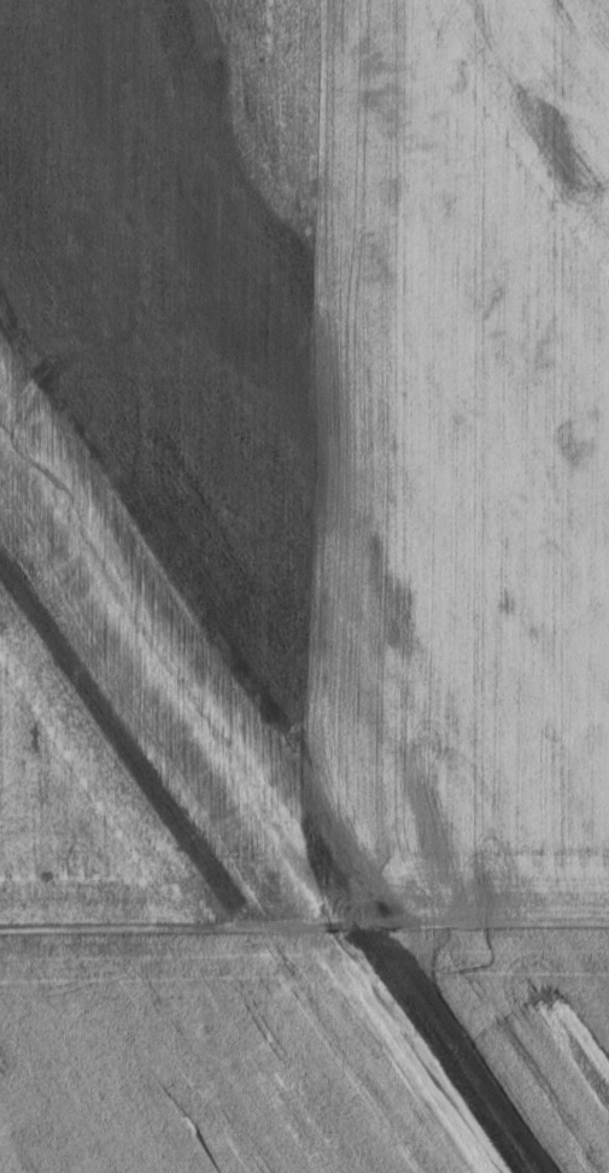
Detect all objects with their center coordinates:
crop: (169, 459)
crop: (473, 459)
crop: (314, 1052)

